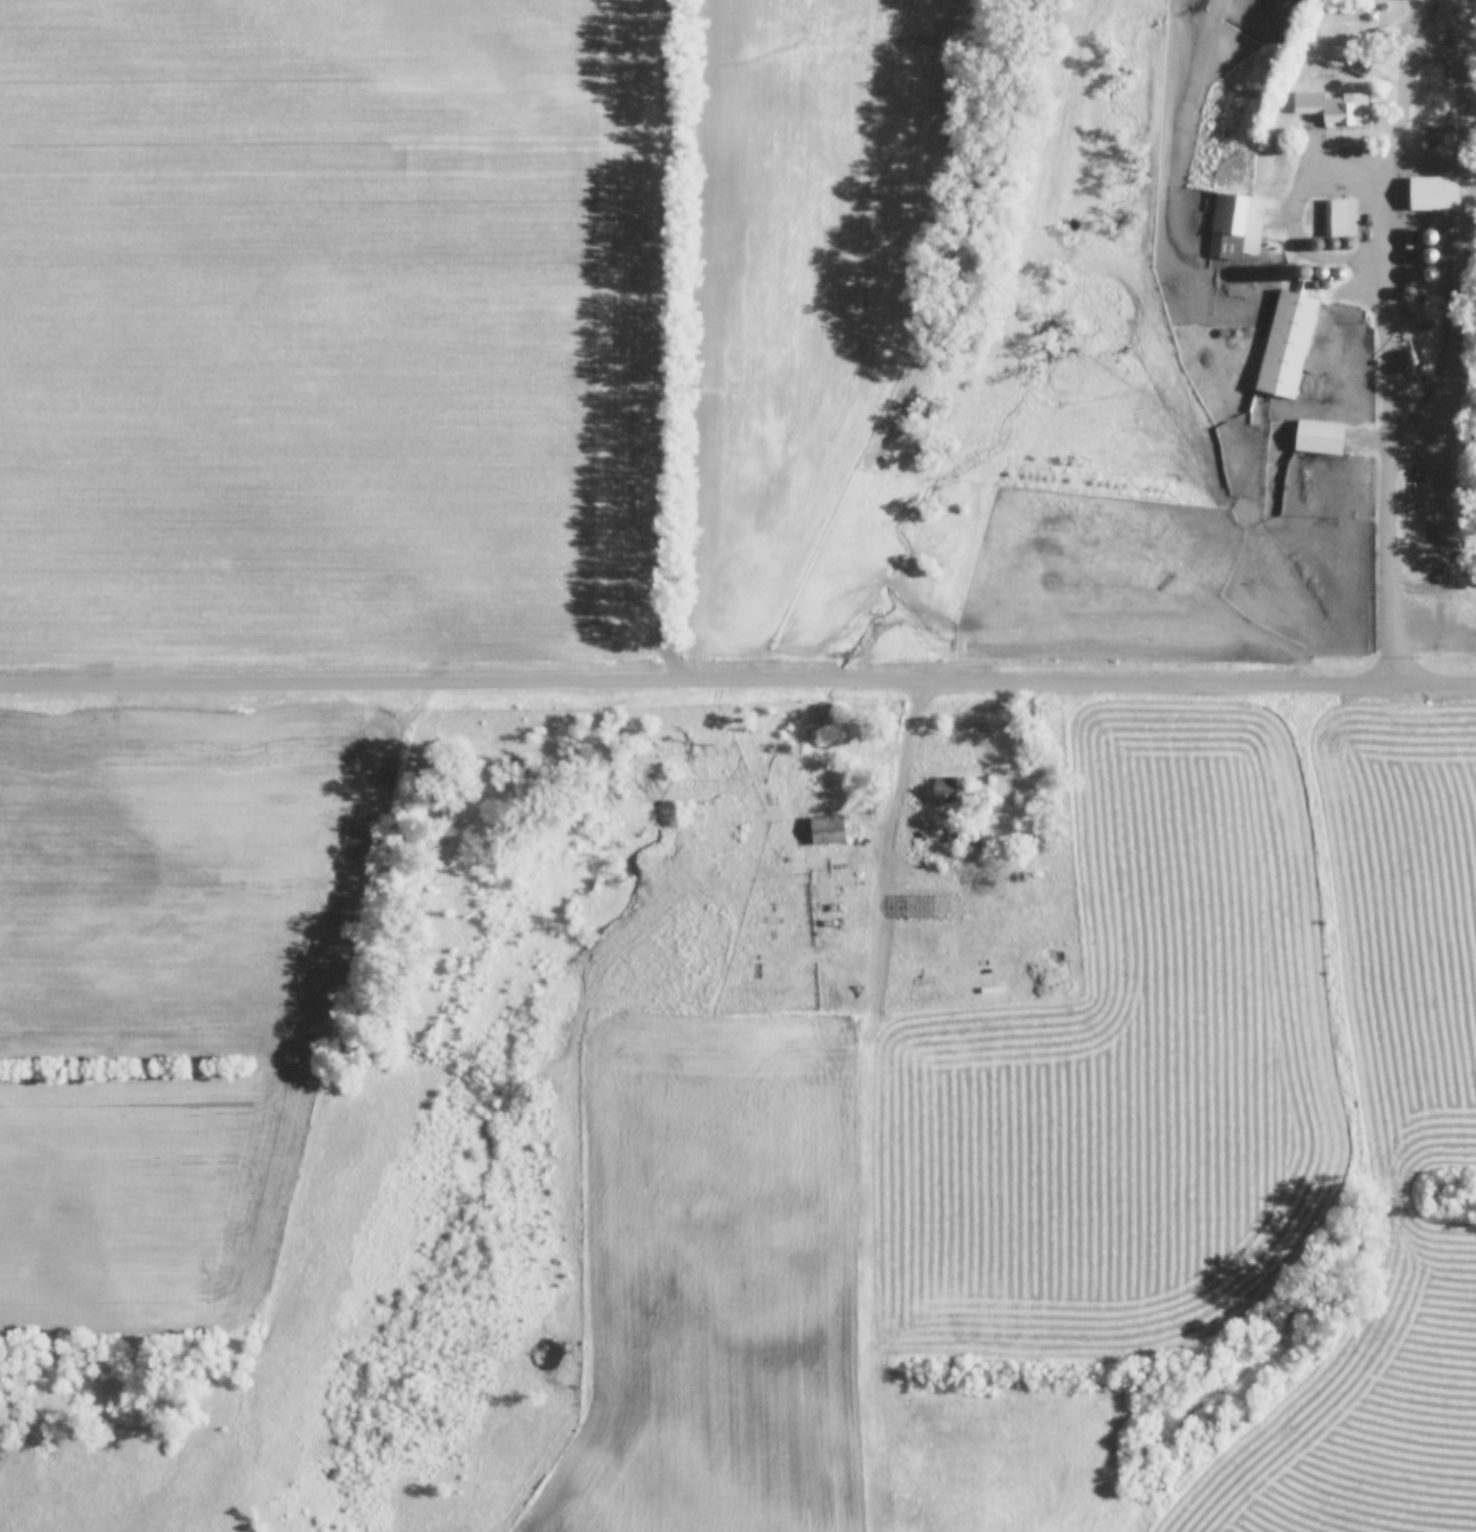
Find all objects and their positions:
building: (1362, 65)
building: (1440, 93)
building: (1333, 108)
building: (1434, 193)
road: (1301, 215)
building: (1341, 222)
building: (1236, 225)
road: (1397, 338)
building: (1287, 344)
building: (1319, 437)
road: (738, 677)
building: (950, 798)
road: (922, 819)
building: (827, 830)
building: (963, 836)

